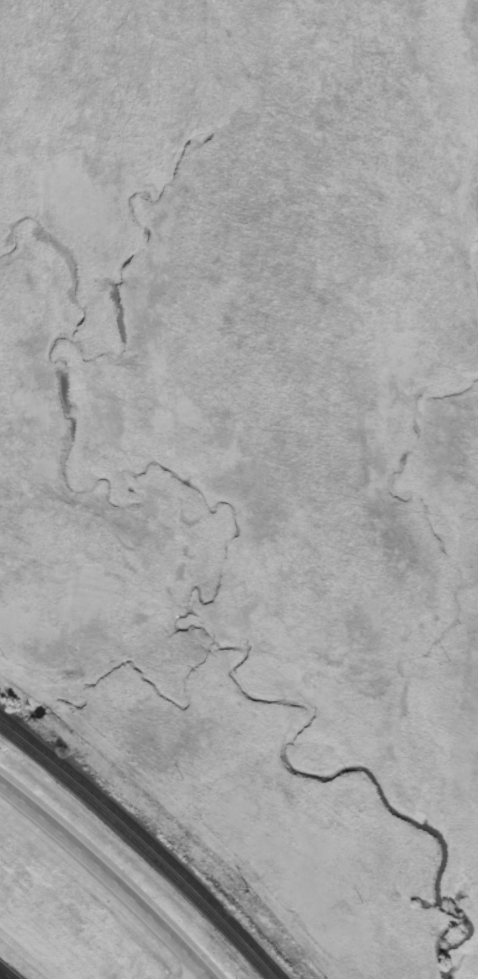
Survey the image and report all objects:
railway: (146, 841)
railway: (138, 849)
road: (111, 875)
road: (12, 968)
road: (197, 973)

